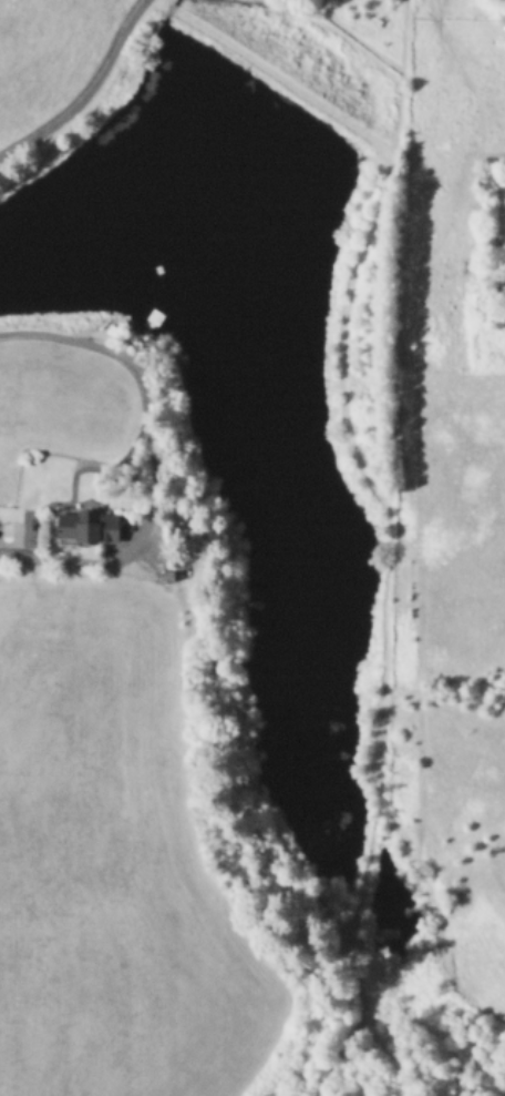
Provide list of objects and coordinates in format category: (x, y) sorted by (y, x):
road: (92, 100)
road: (155, 455)
crop: (186, 526)
building: (84, 527)
building: (24, 532)

